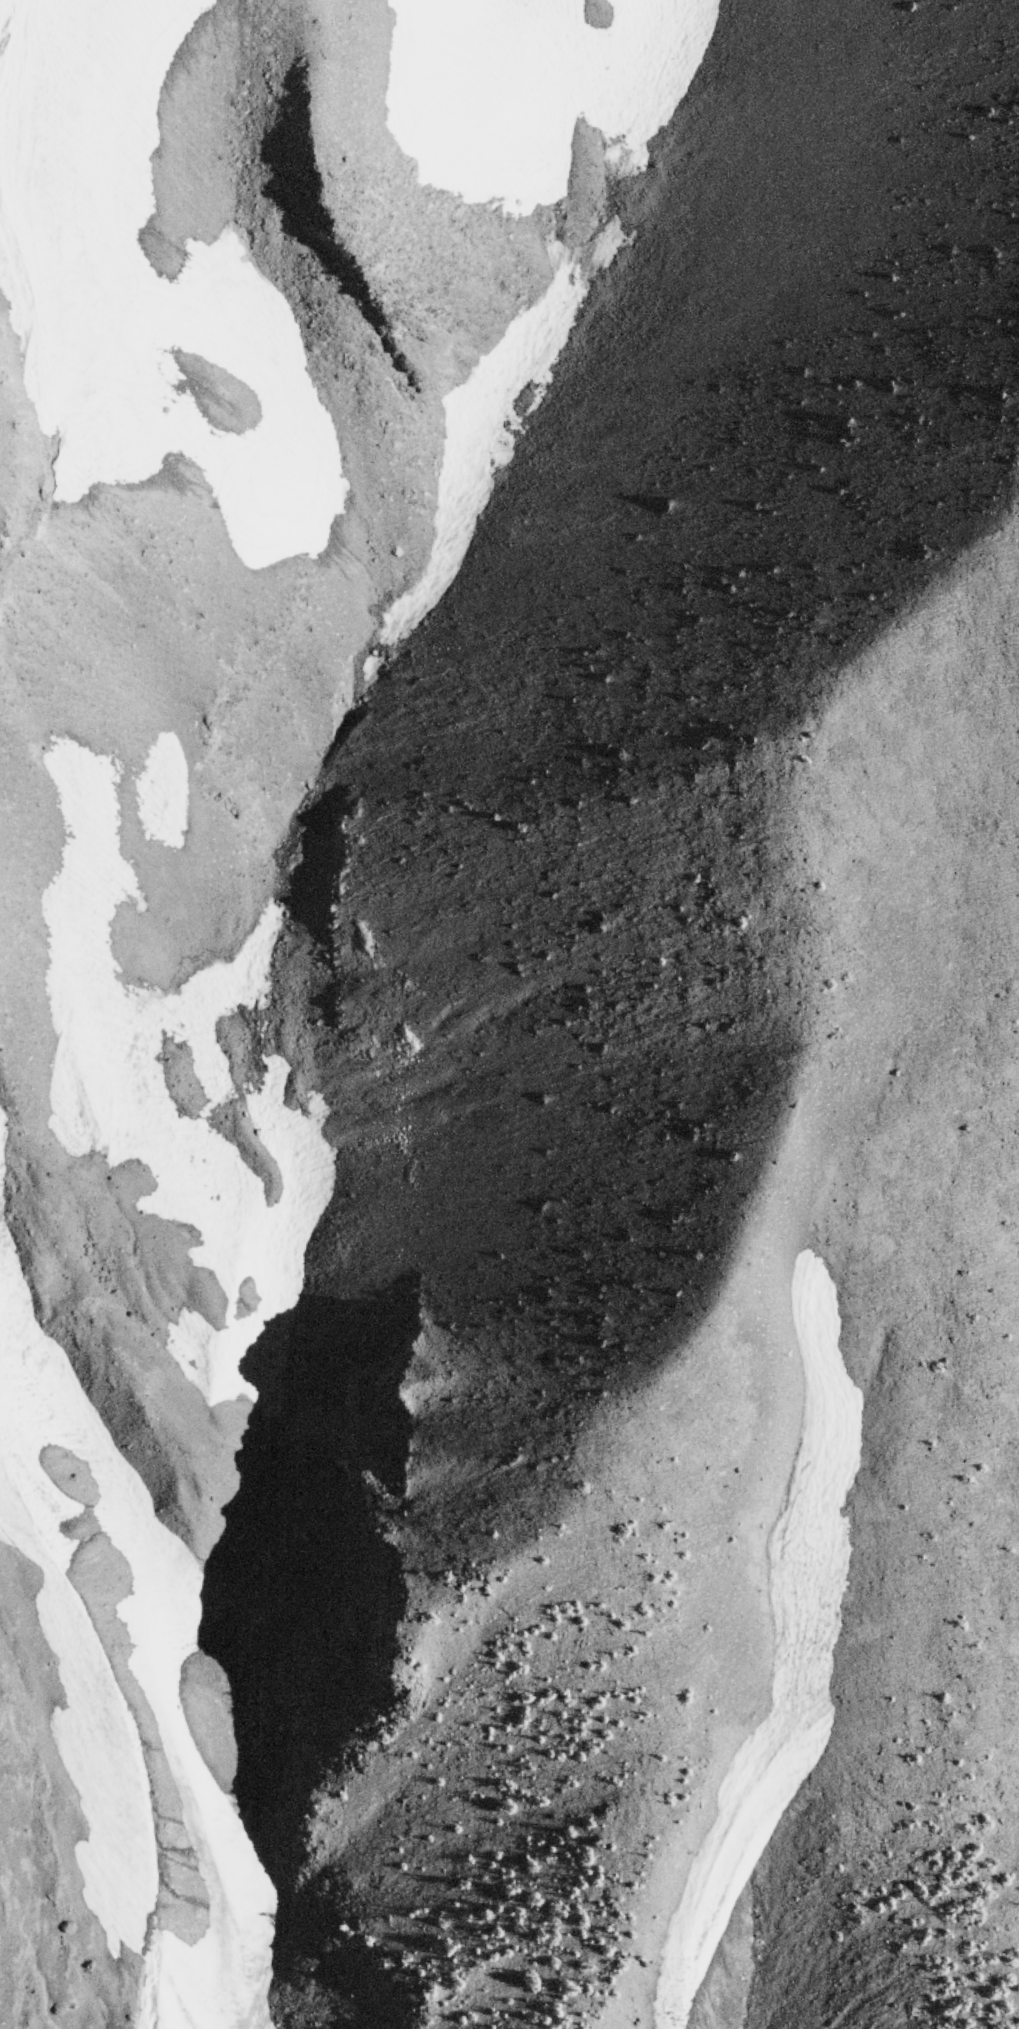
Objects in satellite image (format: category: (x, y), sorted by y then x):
ski resort: (1016, 1876)

